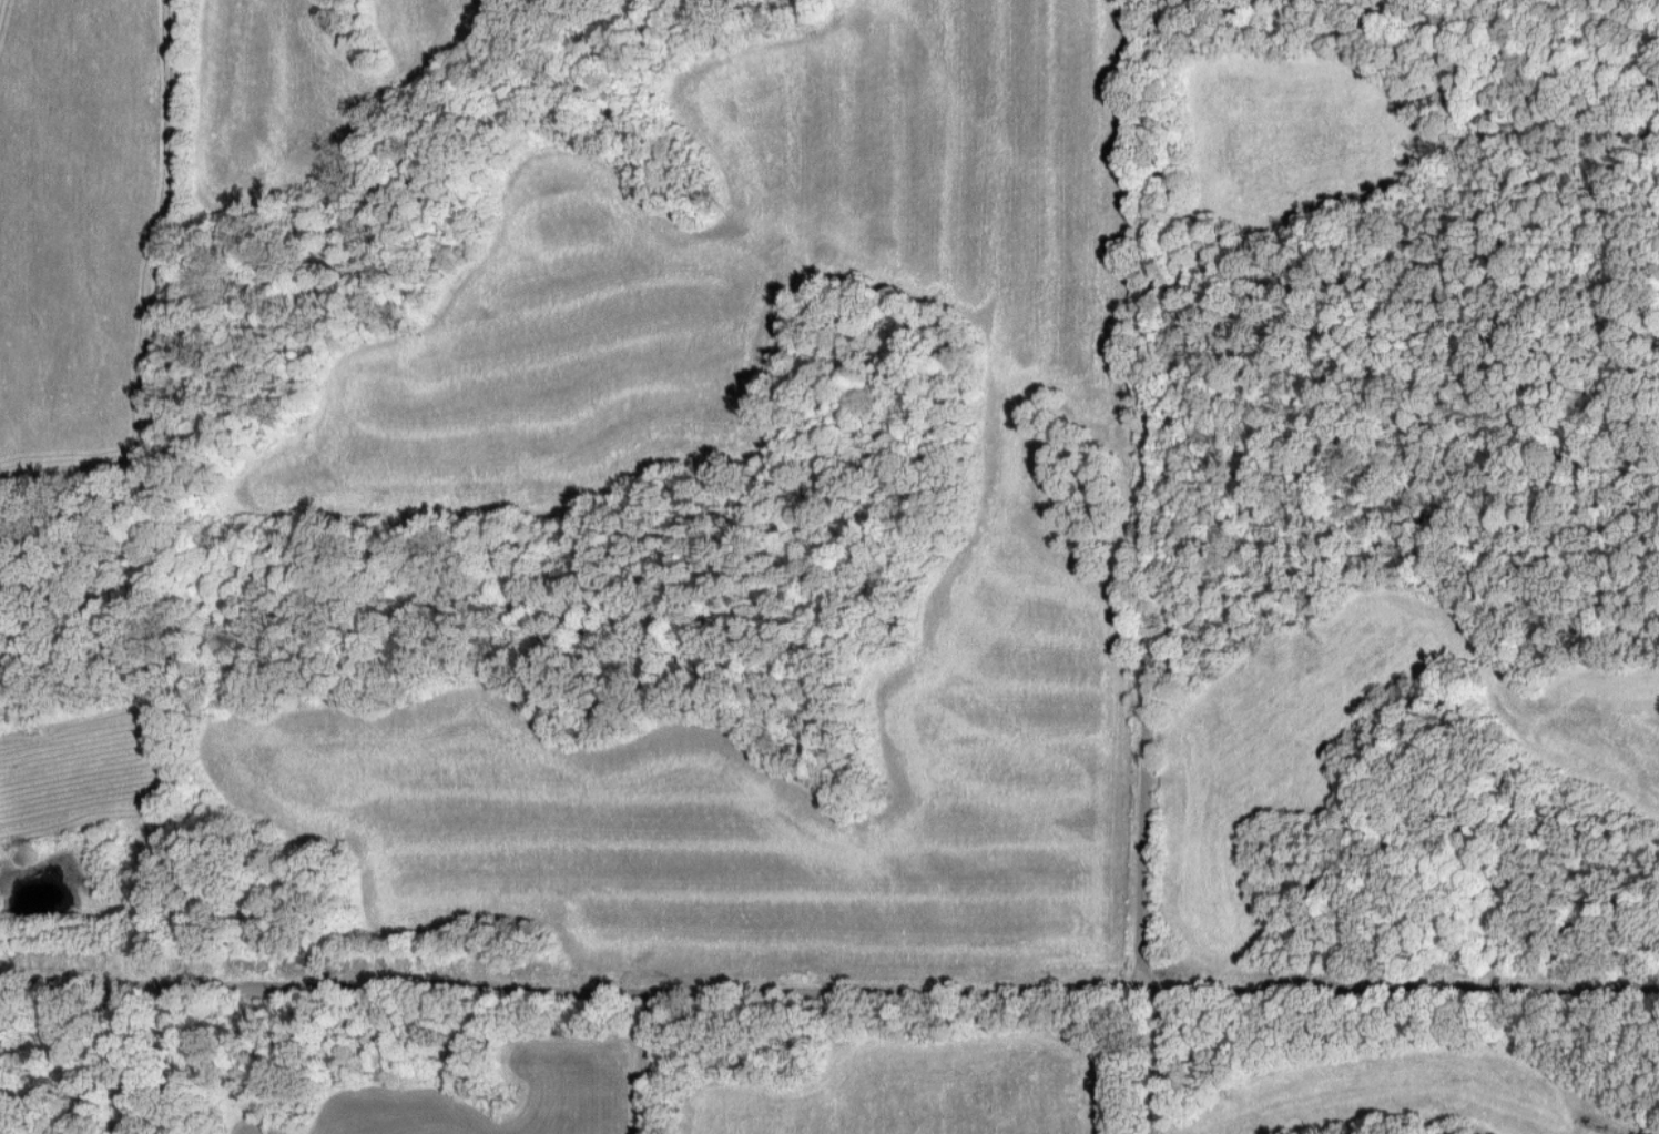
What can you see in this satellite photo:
road: (1157, 498)
road: (829, 993)

